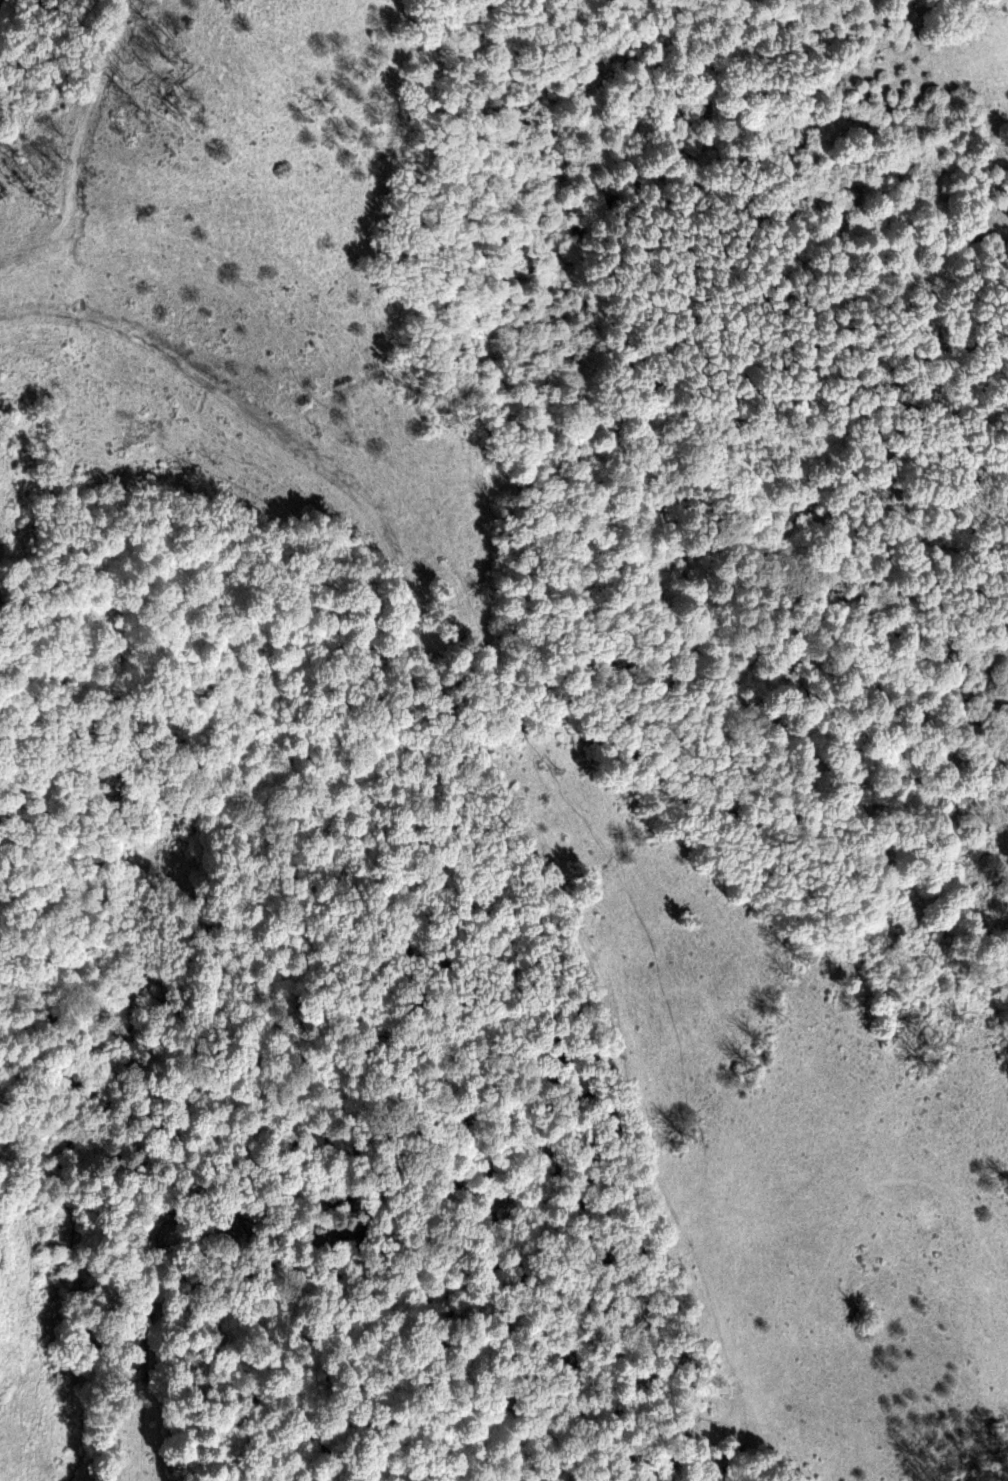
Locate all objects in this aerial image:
road: (140, 1195)

